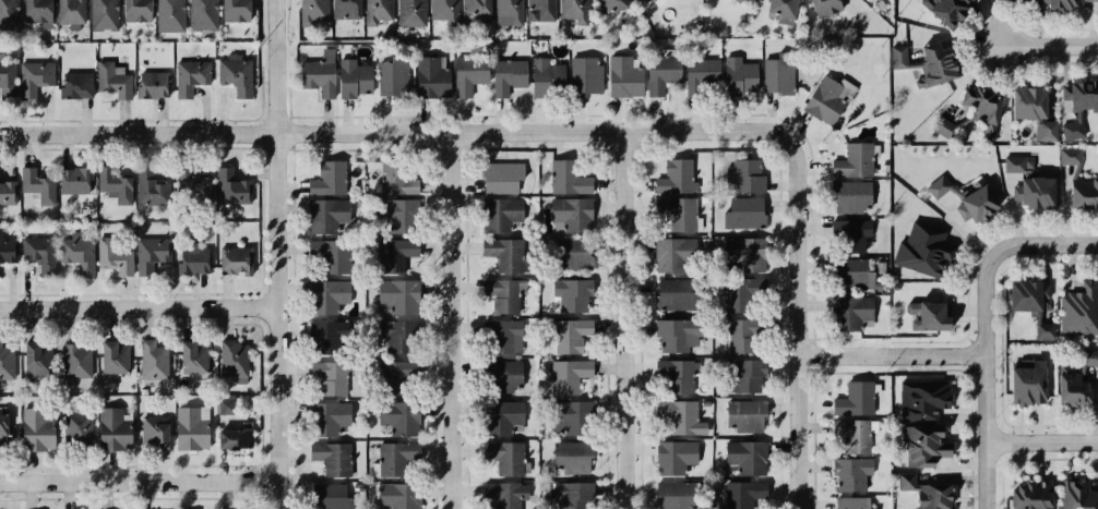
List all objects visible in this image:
building: (649, 0)
building: (738, 0)
building: (968, 0)
building: (1011, 0)
building: (1091, 1)
building: (611, 3)
building: (1057, 4)
building: (821, 7)
building: (345, 8)
building: (541, 8)
building: (232, 9)
building: (475, 9)
building: (574, 9)
building: (780, 9)
building: (944, 9)
building: (142, 10)
building: (443, 10)
building: (510, 10)
building: (43, 11)
building: (73, 11)
building: (311, 11)
building: (378, 11)
building: (410, 12)
building: (203, 13)
building: (106, 14)
building: (172, 14)
building: (10, 15)
road: (1049, 44)
building: (898, 54)
building: (935, 64)
building: (661, 70)
building: (701, 70)
building: (8, 72)
building: (318, 72)
building: (468, 73)
building: (544, 73)
building: (776, 73)
building: (237, 74)
building: (584, 74)
building: (737, 74)
building: (391, 75)
building: (508, 75)
building: (429, 76)
building: (622, 76)
building: (190, 77)
building: (36, 78)
building: (351, 78)
building: (115, 80)
building: (155, 83)
building: (76, 85)
building: (826, 98)
building: (1025, 101)
building: (1079, 105)
building: (971, 113)
building: (1043, 130)
road: (229, 131)
road: (641, 131)
road: (475, 132)
building: (851, 160)
building: (1014, 163)
building: (396, 175)
building: (499, 177)
building: (565, 177)
building: (675, 177)
building: (742, 177)
building: (326, 178)
building: (80, 179)
building: (1078, 181)
building: (935, 183)
building: (40, 184)
building: (118, 184)
building: (196, 185)
building: (231, 187)
building: (8, 191)
building: (153, 191)
building: (1034, 192)
building: (849, 195)
building: (974, 203)
building: (677, 211)
building: (398, 214)
building: (499, 214)
building: (569, 214)
building: (742, 214)
building: (324, 215)
building: (851, 233)
road: (1040, 245)
building: (923, 246)
building: (8, 250)
building: (81, 252)
building: (41, 253)
building: (119, 253)
building: (503, 253)
building: (673, 253)
building: (153, 254)
road: (284, 254)
building: (566, 254)
building: (194, 255)
building: (386, 255)
building: (740, 255)
building: (238, 257)
building: (332, 257)
building: (850, 275)
building: (571, 294)
building: (397, 295)
building: (505, 295)
building: (671, 295)
building: (737, 295)
building: (329, 299)
building: (1029, 302)
road: (142, 305)
building: (1079, 307)
building: (849, 312)
building: (927, 313)
road: (631, 319)
road: (461, 320)
road: (796, 326)
building: (672, 334)
building: (740, 335)
building: (399, 336)
building: (568, 336)
building: (500, 337)
building: (326, 338)
building: (118, 356)
building: (236, 356)
road: (888, 356)
building: (40, 357)
building: (155, 357)
building: (195, 357)
building: (1089, 357)
building: (80, 360)
building: (8, 362)
building: (501, 373)
building: (566, 374)
building: (679, 375)
building: (332, 376)
building: (398, 376)
building: (744, 378)
road: (981, 378)
building: (1024, 383)
building: (1069, 386)
building: (856, 397)
building: (920, 398)
building: (227, 407)
building: (745, 414)
building: (570, 415)
building: (498, 416)
building: (682, 416)
building: (332, 417)
building: (401, 417)
building: (5, 425)
building: (117, 427)
building: (82, 428)
building: (39, 429)
building: (194, 429)
building: (848, 433)
building: (160, 436)
building: (239, 438)
road: (1039, 440)
building: (921, 444)
building: (504, 456)
building: (570, 456)
building: (745, 456)
building: (675, 458)
building: (336, 459)
building: (395, 459)
building: (849, 473)
road: (143, 480)
building: (923, 489)
building: (742, 493)
building: (1030, 494)
building: (1078, 494)
building: (401, 495)
building: (501, 495)
building: (569, 495)
building: (333, 496)
building: (673, 496)
building: (844, 502)

